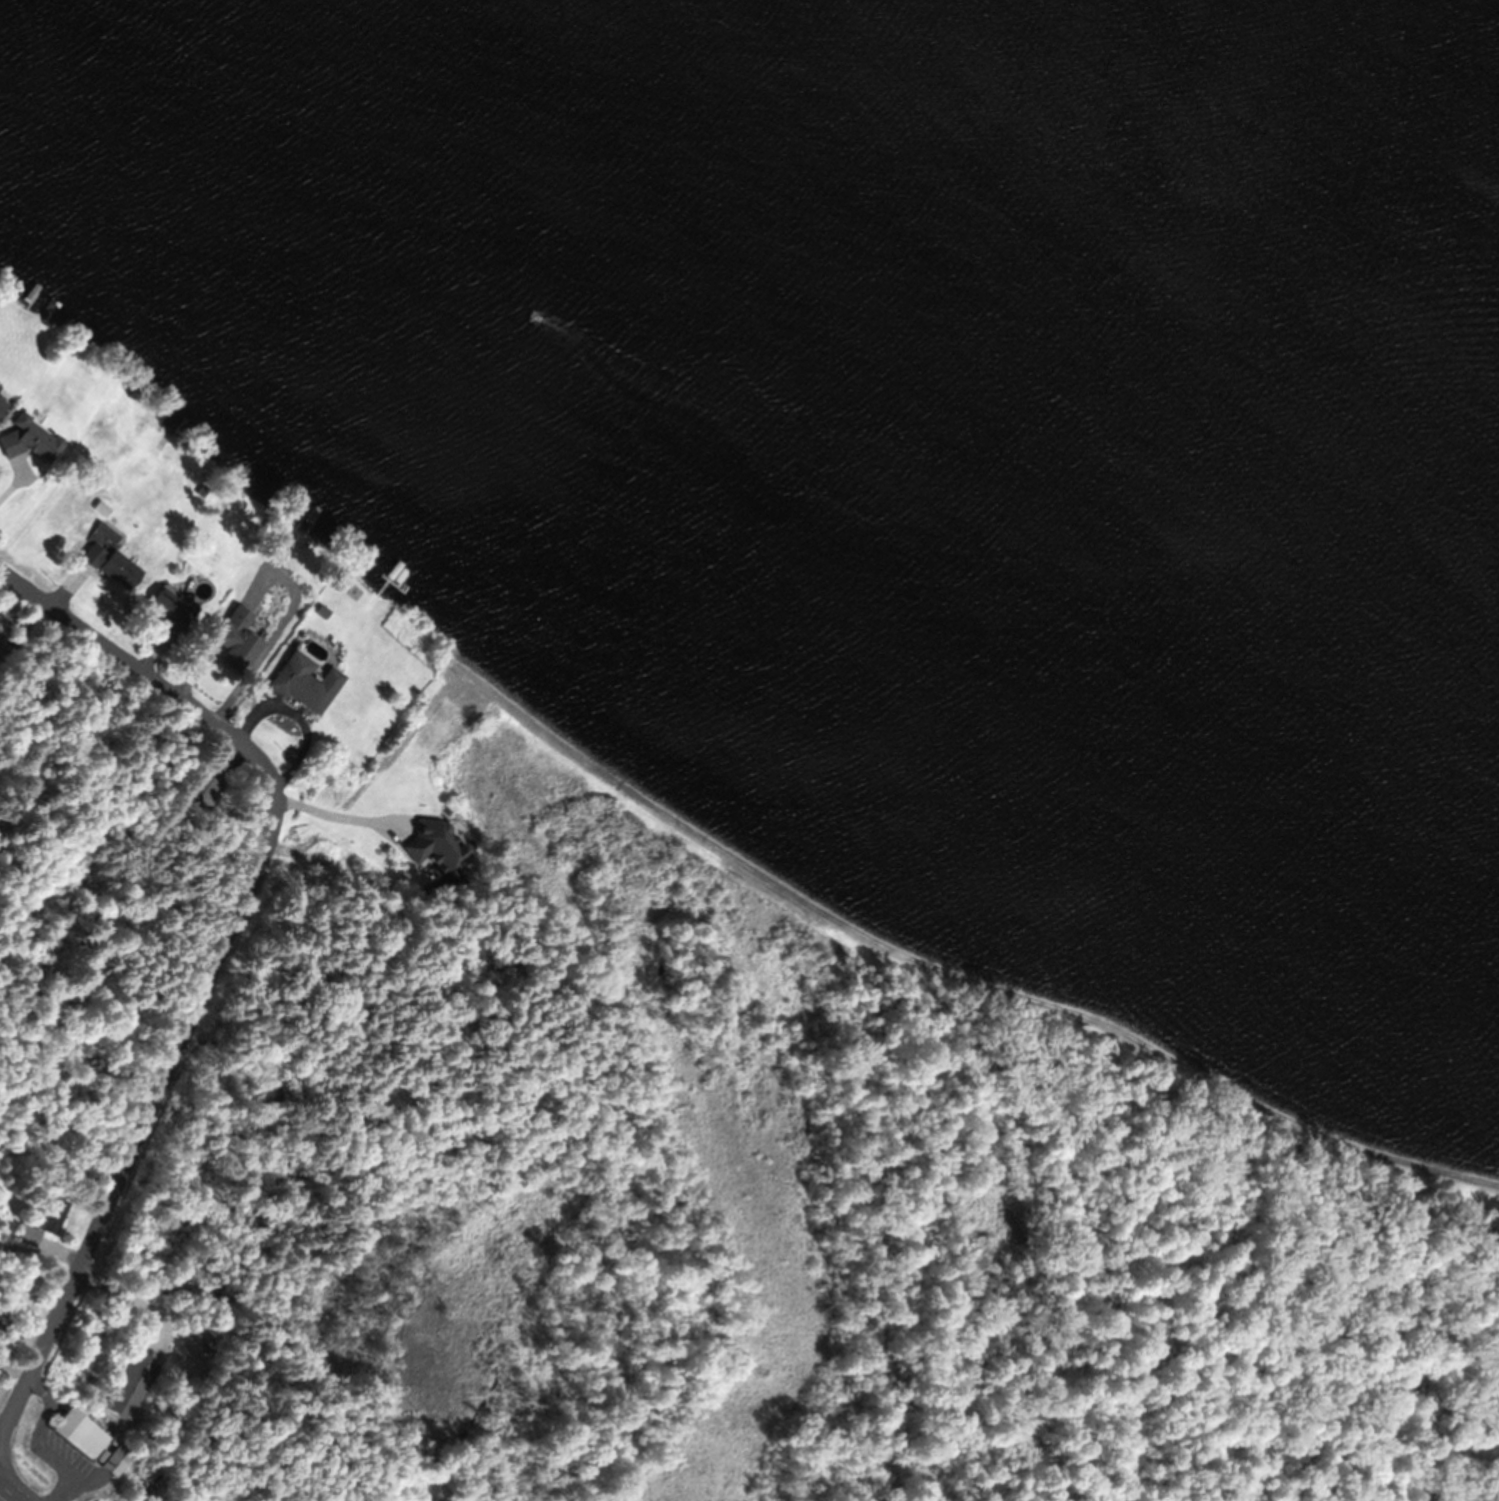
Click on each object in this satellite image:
river: (1047, 286)
building: (21, 438)
building: (272, 546)
building: (103, 566)
building: (163, 612)
building: (228, 641)
building: (296, 681)
building: (202, 791)
building: (429, 845)
road: (221, 954)
building: (40, 1223)
building: (1, 1321)
building: (124, 1385)
building: (75, 1433)
building: (112, 1461)
road: (8, 1493)

